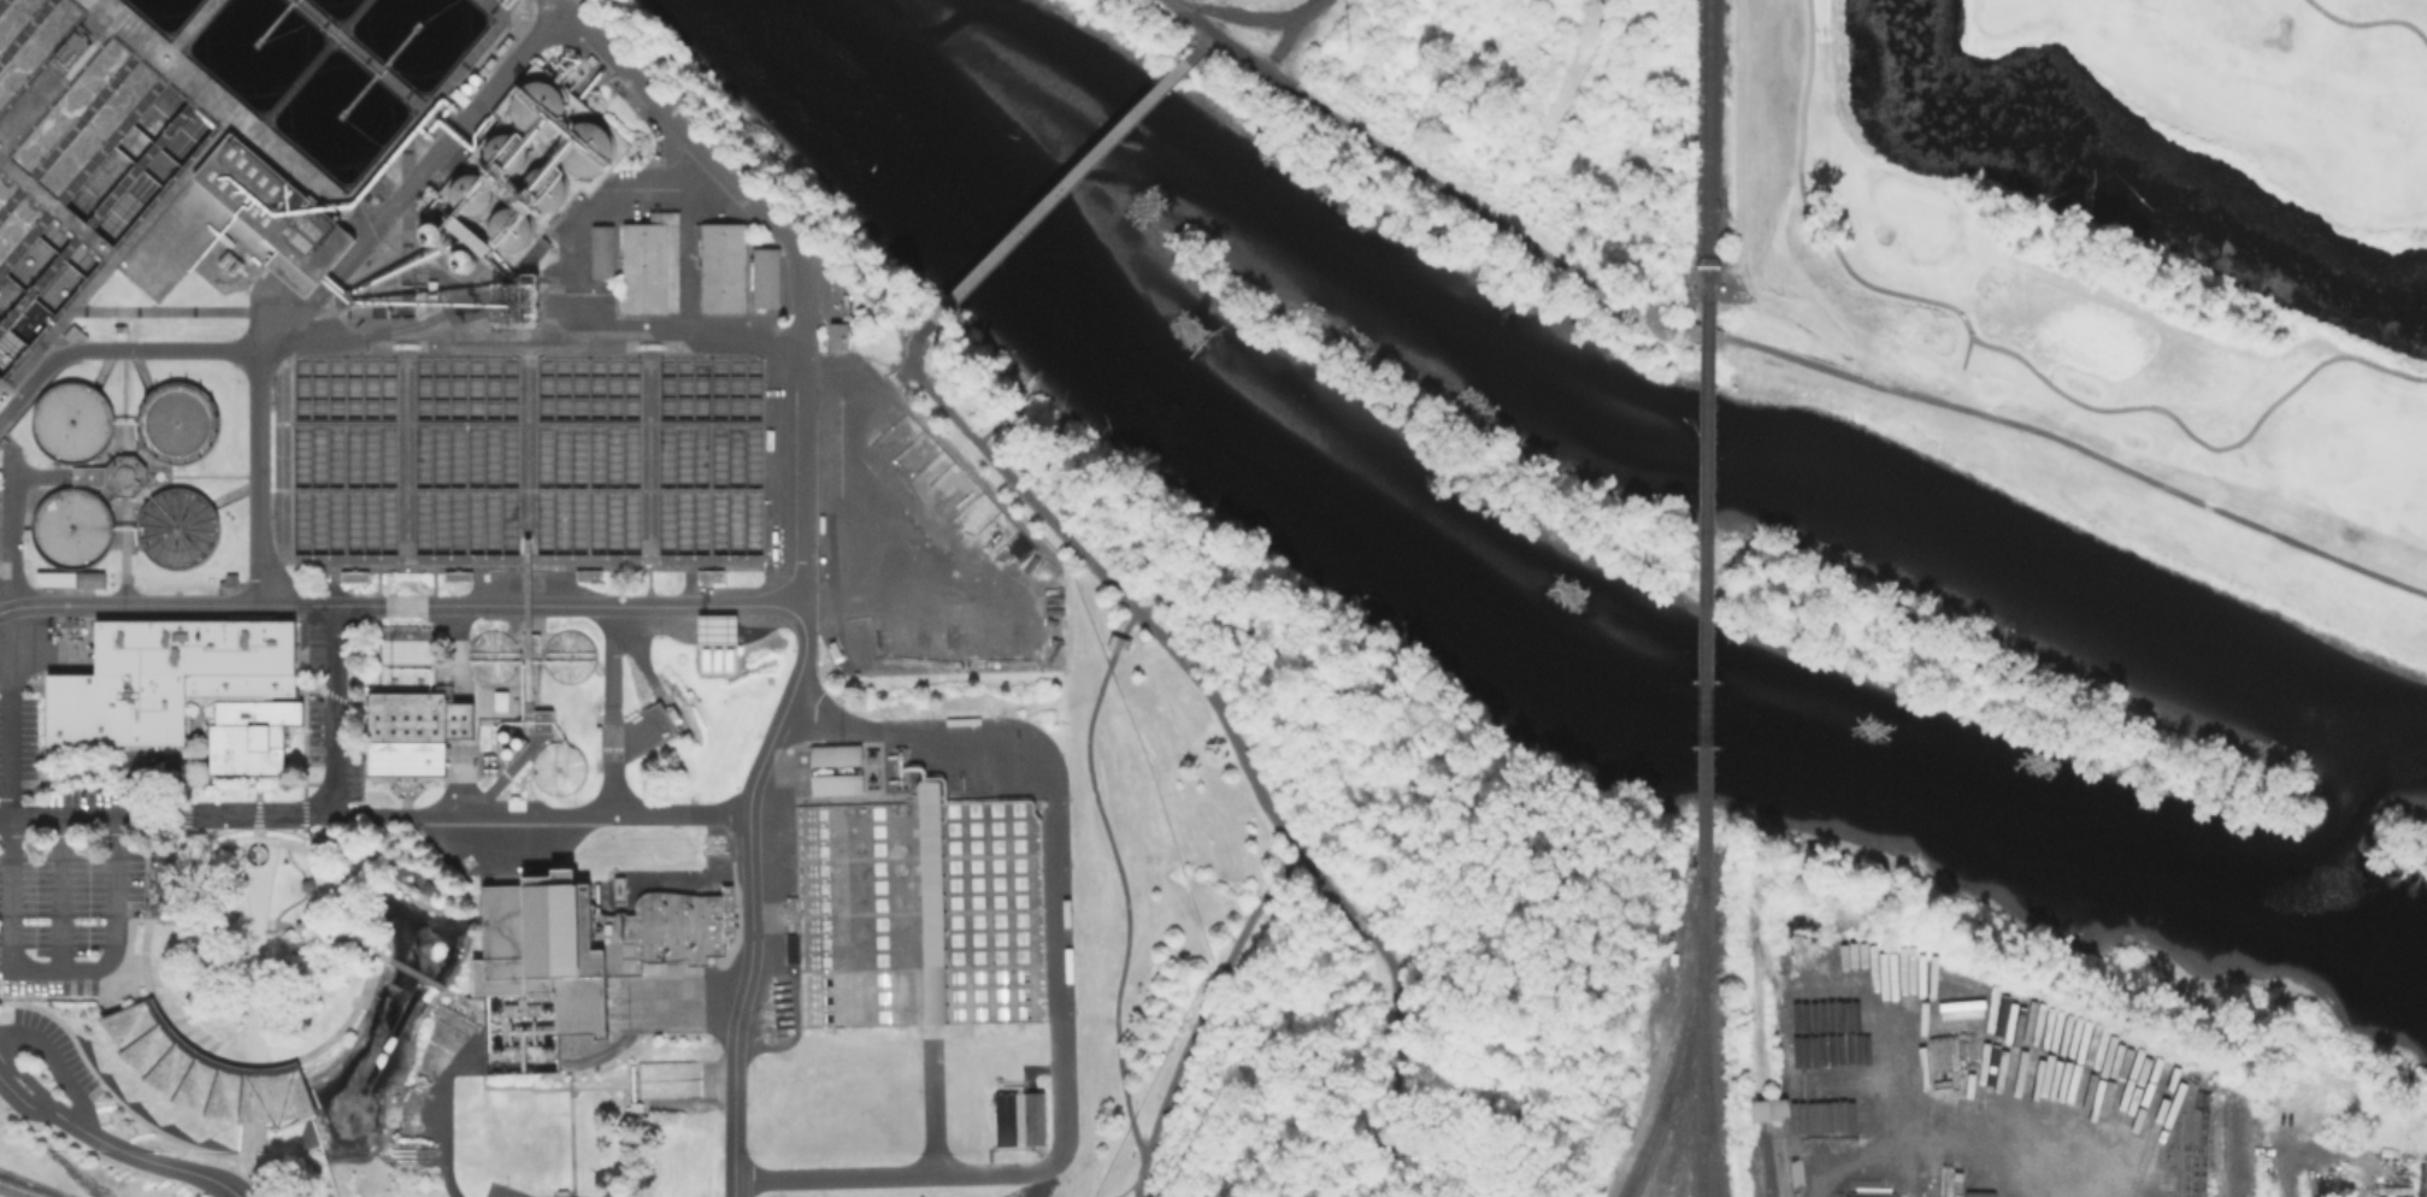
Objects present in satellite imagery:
road: (1192, 14)
road: (2369, 20)
wastewater plant: (1277, 25)
road: (1200, 45)
road: (1255, 59)
building: (537, 104)
building: (585, 145)
building: (505, 149)
railway: (1707, 149)
road: (711, 163)
building: (544, 183)
road: (1059, 189)
building: (469, 191)
building: (271, 205)
park: (2127, 224)
building: (508, 225)
road: (1740, 243)
building: (600, 250)
building: (648, 261)
building: (721, 265)
building: (764, 275)
road: (332, 276)
building: (1706, 330)
building: (837, 334)
road: (114, 347)
road: (2015, 355)
road: (1844, 373)
road: (865, 405)
building: (183, 420)
road: (1000, 420)
building: (77, 421)
building: (118, 474)
park: (2129, 502)
building: (182, 526)
building: (77, 527)
road: (801, 549)
building: (587, 573)
building: (708, 573)
building: (73, 578)
building: (232, 580)
railway: (1704, 583)
road: (400, 602)
road: (1132, 605)
road: (1127, 620)
building: (1117, 641)
road: (1118, 642)
wastewater plant: (522, 648)
road: (458, 651)
building: (569, 651)
building: (490, 653)
building: (187, 689)
road: (326, 707)
road: (609, 708)
road: (459, 719)
building: (411, 729)
building: (833, 754)
building: (558, 763)
road: (459, 774)
building: (835, 783)
road: (373, 812)
park: (1333, 861)
building: (160, 880)
road: (60, 890)
road: (1125, 900)
road: (10, 904)
building: (917, 912)
road: (1360, 920)
building: (573, 956)
road: (1055, 985)
road: (1201, 1016)
railway: (1702, 1031)
railway: (1681, 1045)
railway: (1756, 1054)
road: (0, 1056)
road: (1396, 1061)
road: (57, 1062)
building: (204, 1068)
road: (29, 1078)
railway: (1706, 1085)
road: (17, 1089)
road: (1650, 1095)
building: (1766, 1108)
road: (143, 1156)
railway: (72, 1169)
road: (249, 1175)
railway: (23, 1189)
railway: (1931, 1191)

